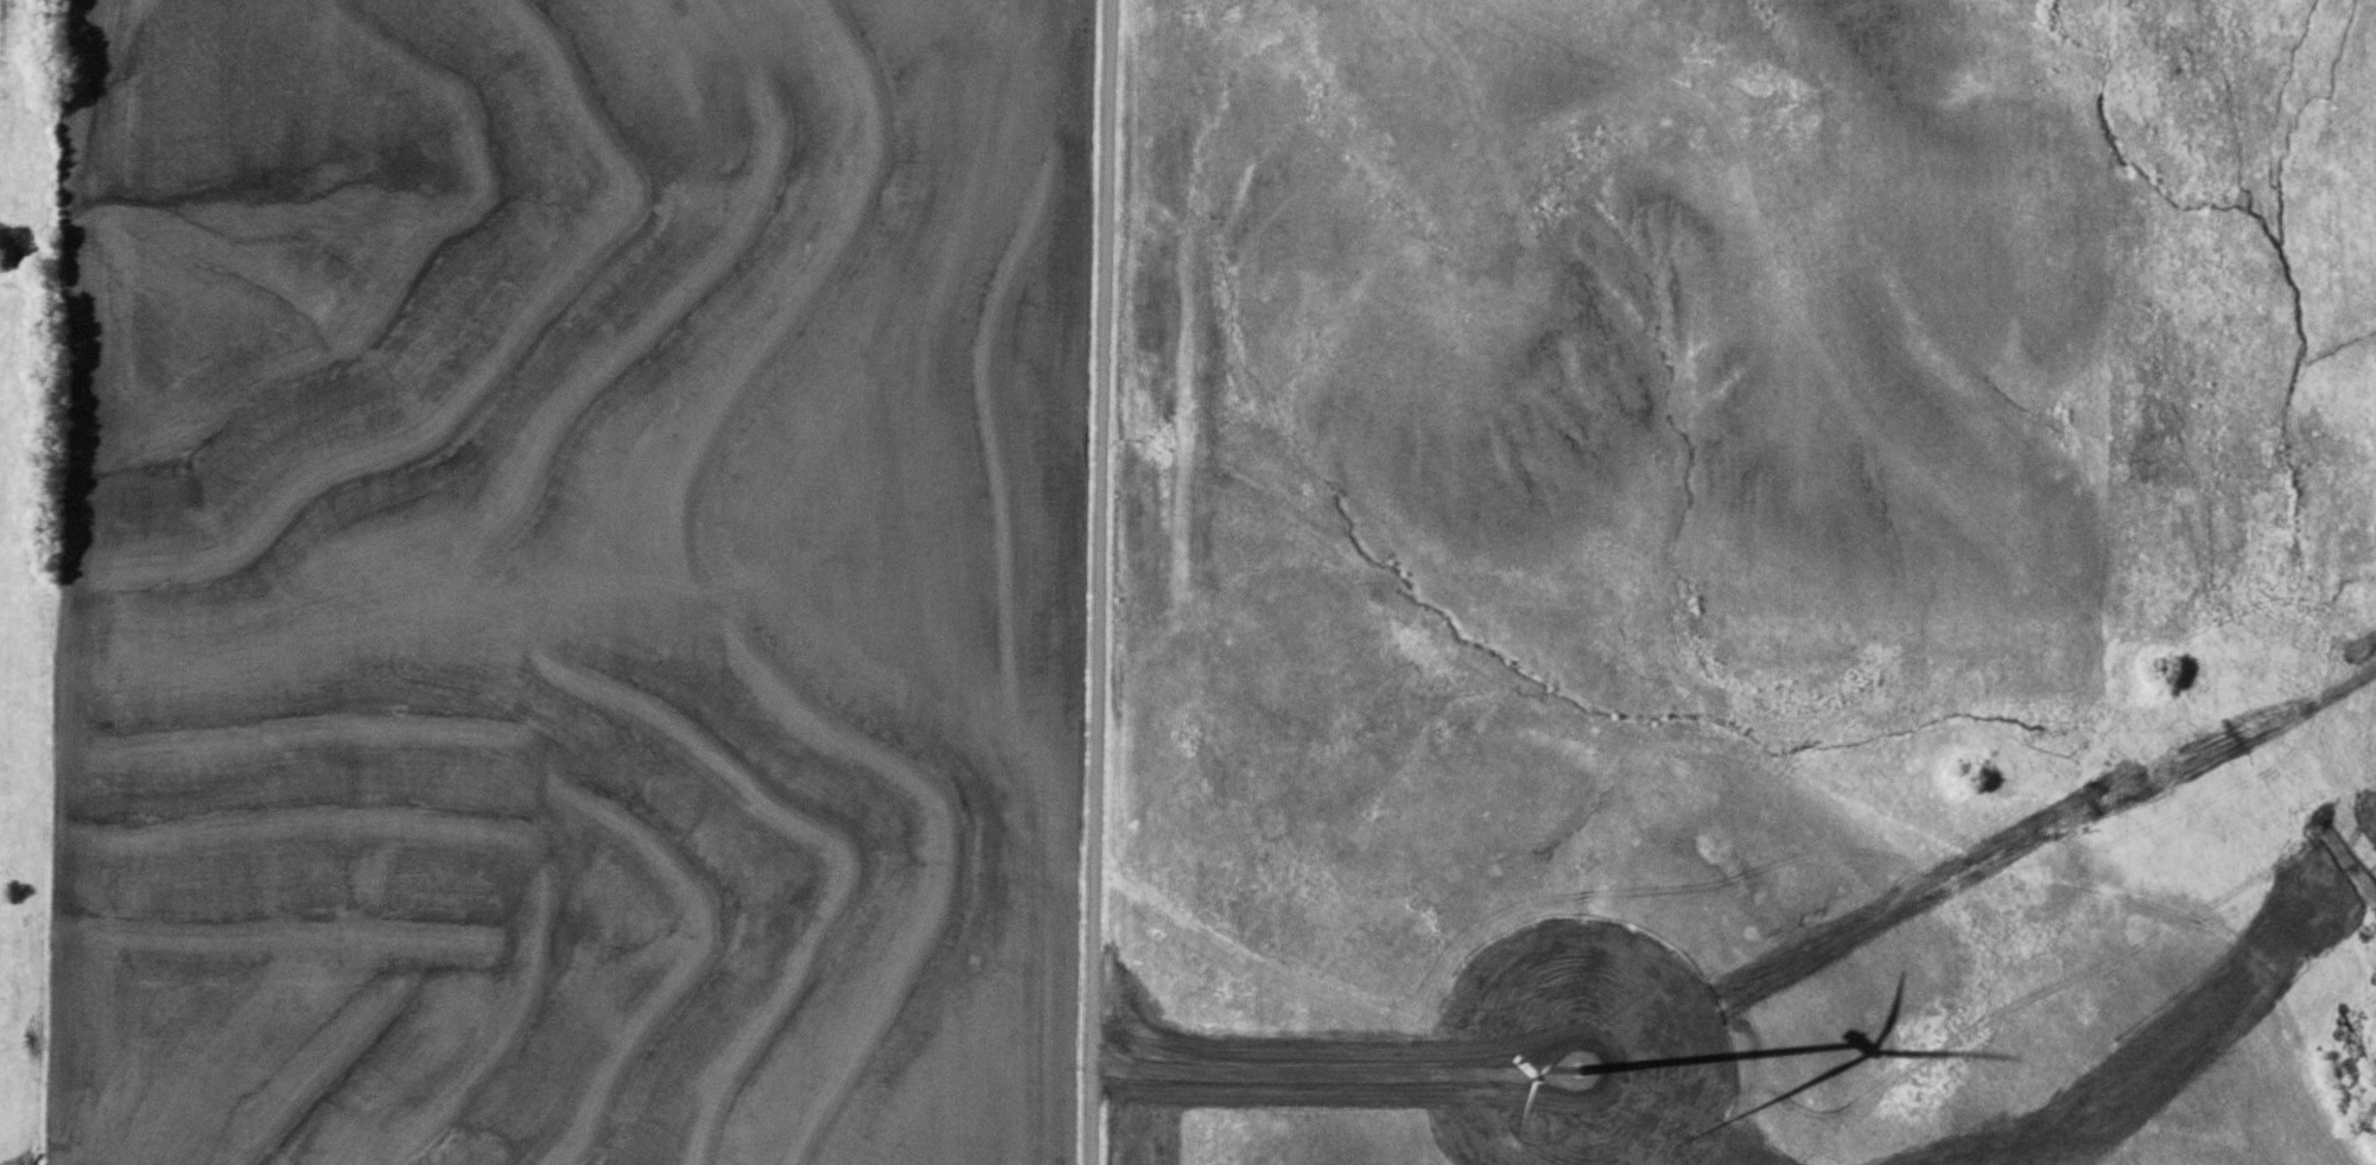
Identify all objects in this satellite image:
road: (1091, 581)
wind turbine: (1571, 1070)

